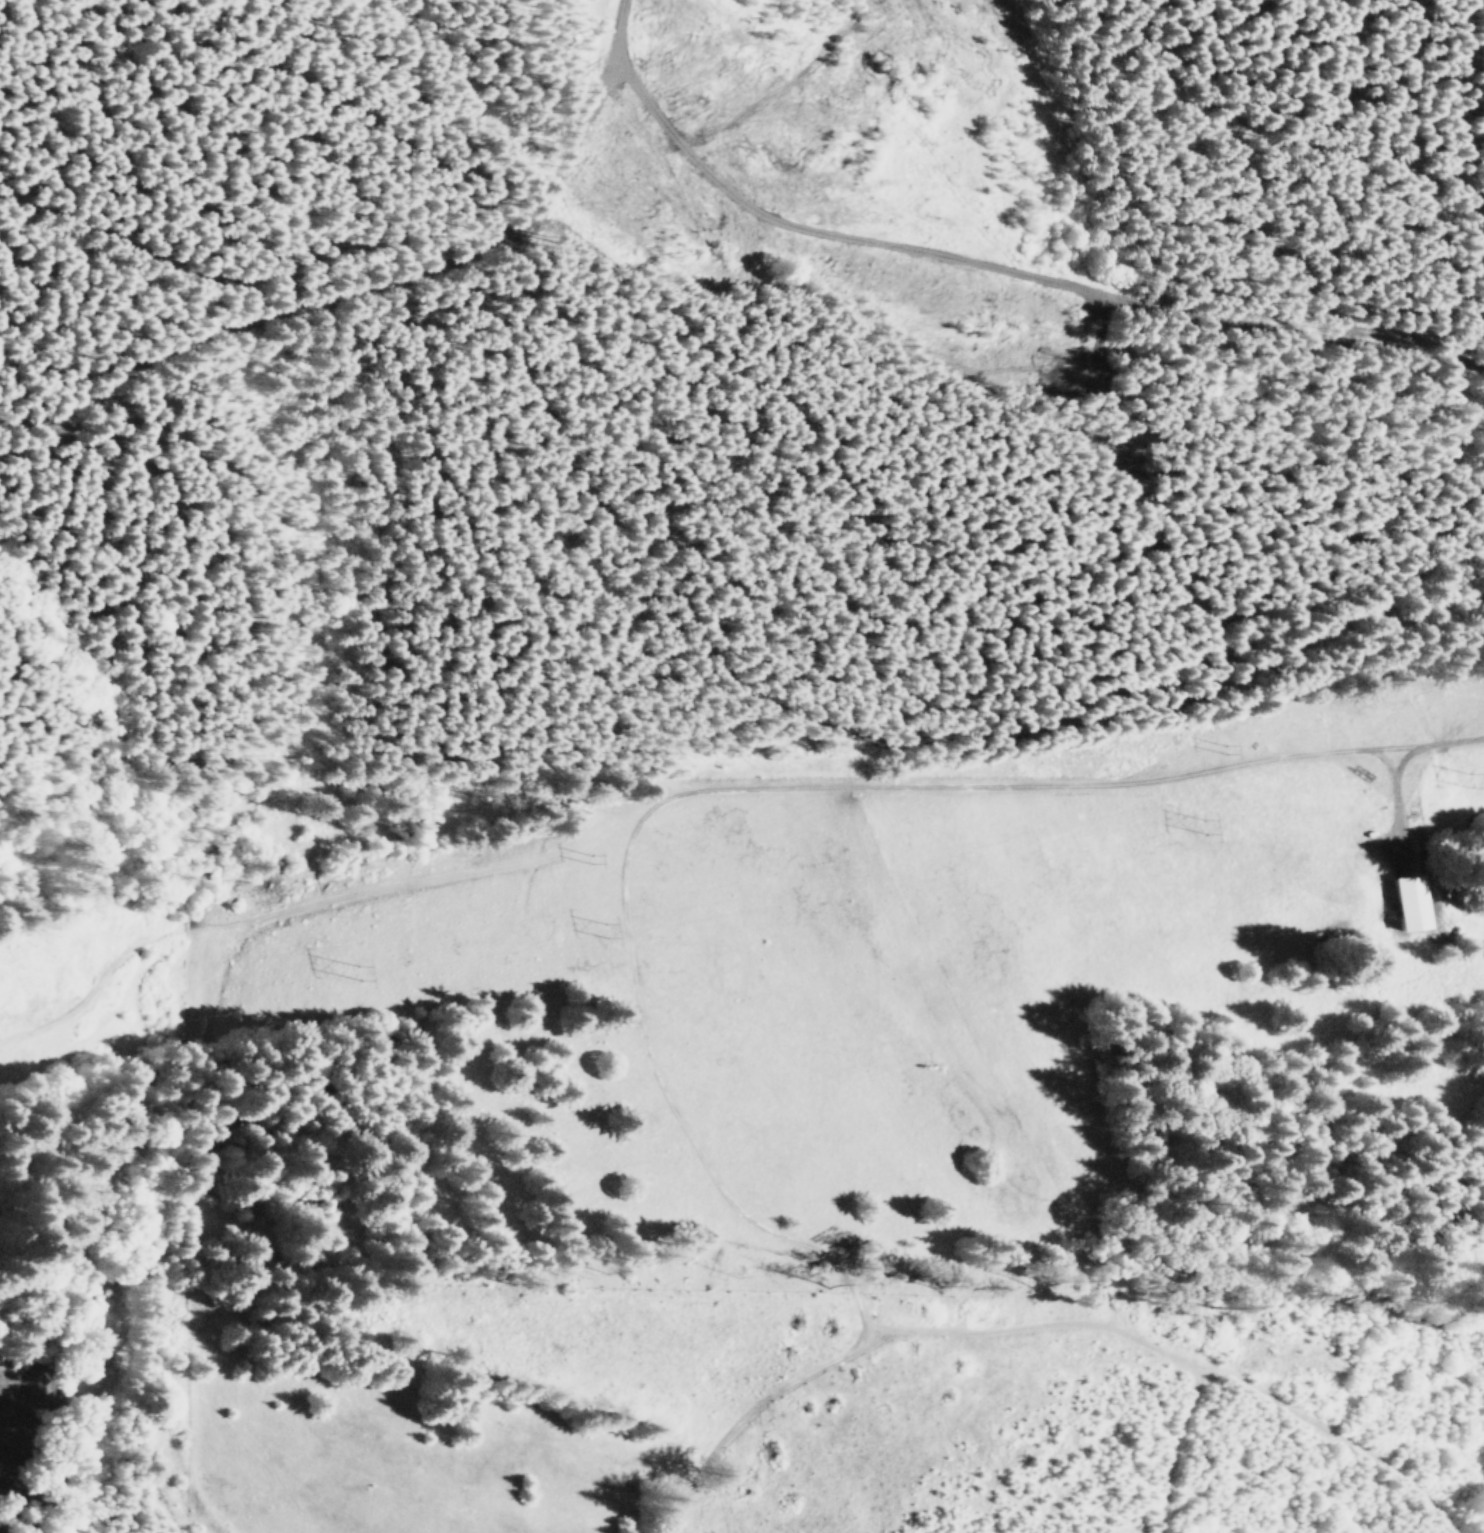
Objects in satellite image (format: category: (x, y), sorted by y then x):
power tower: (1482, 778)
power tower: (1215, 825)
building: (1408, 901)
power tower: (614, 930)
power tower: (369, 976)

